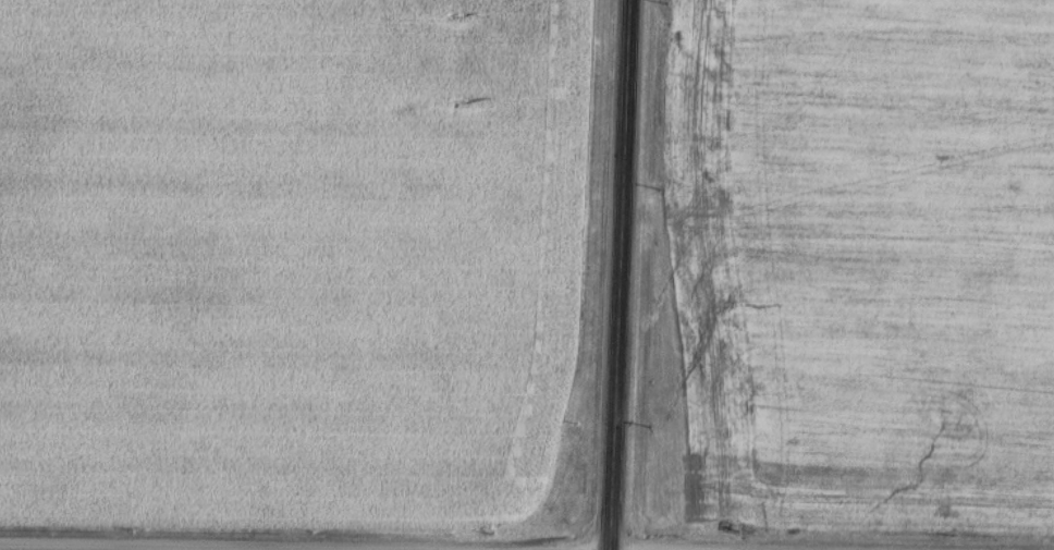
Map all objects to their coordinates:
road: (620, 274)
road: (185, 547)

